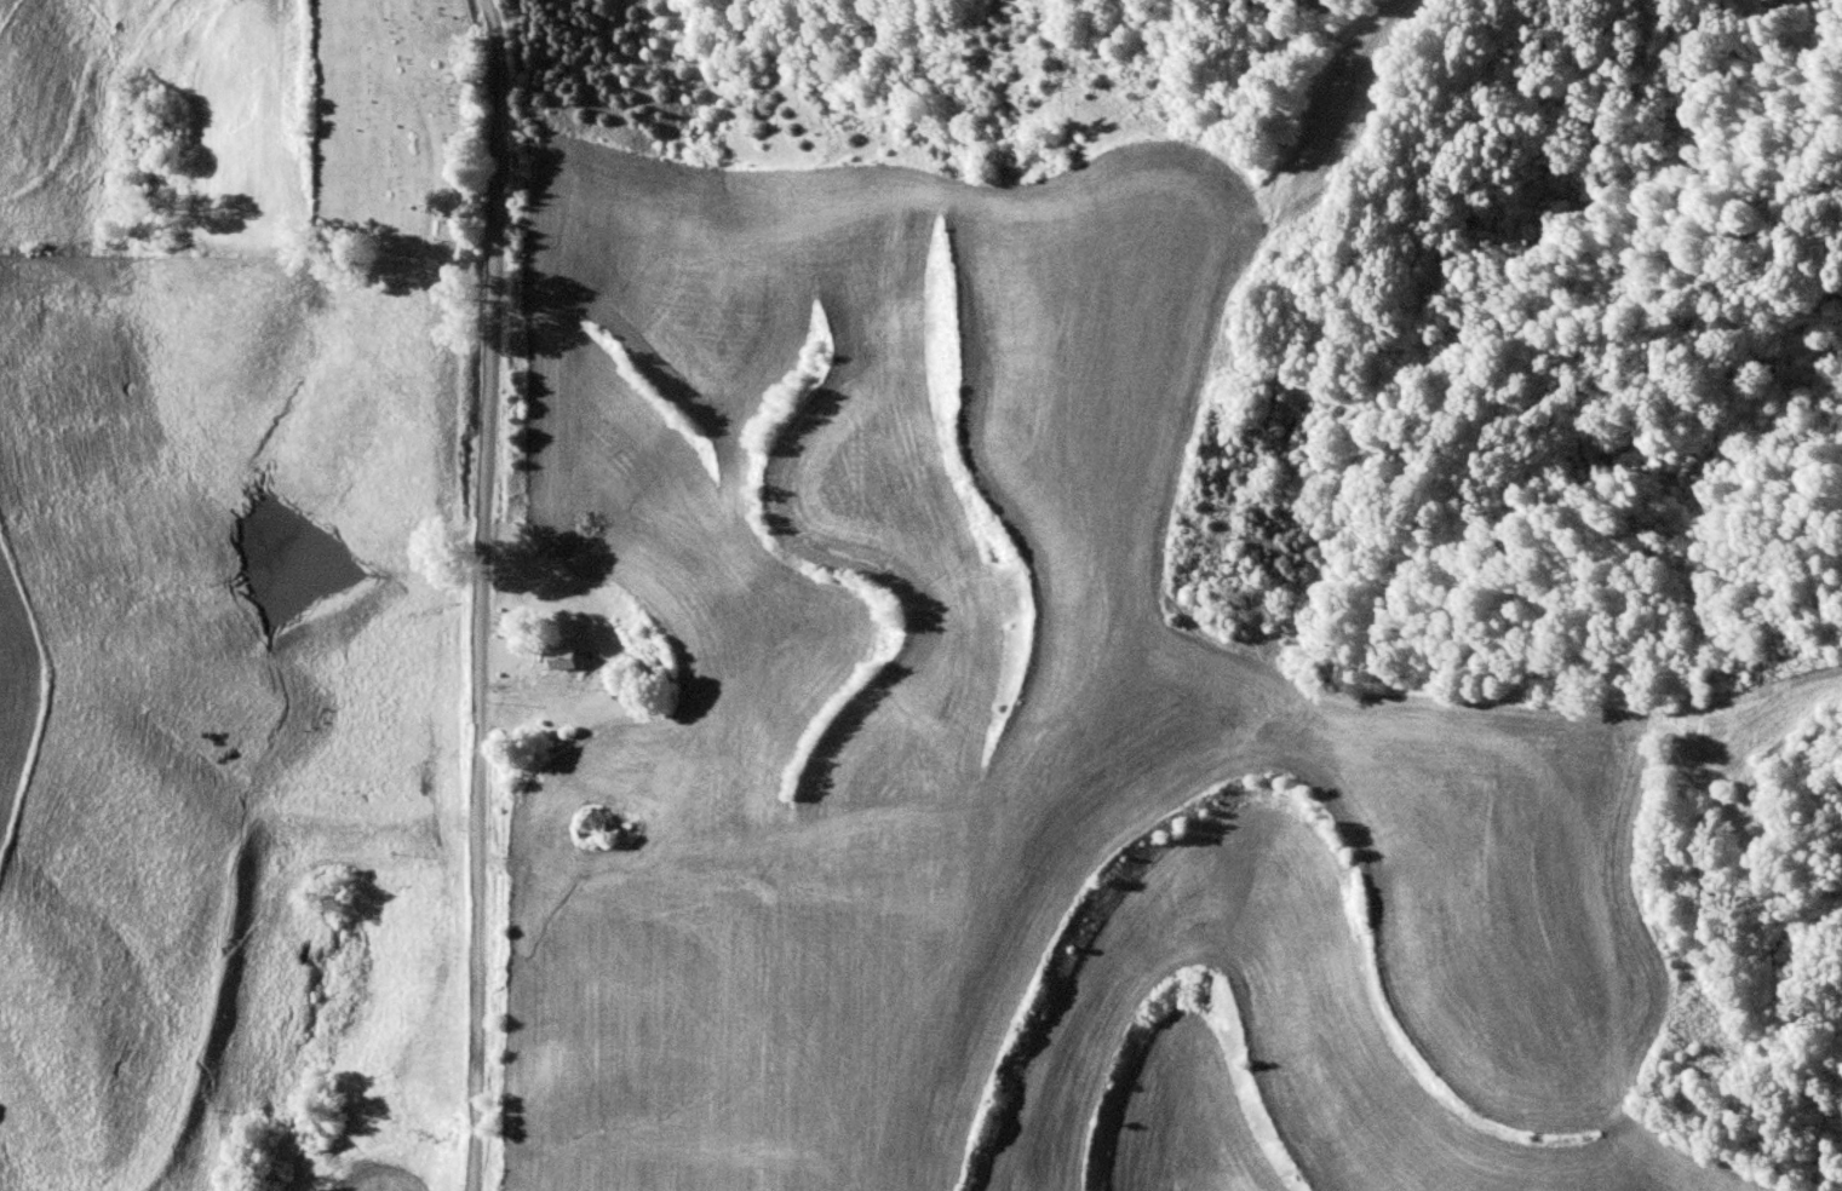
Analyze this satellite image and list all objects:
park: (401, 131)
road: (486, 594)

